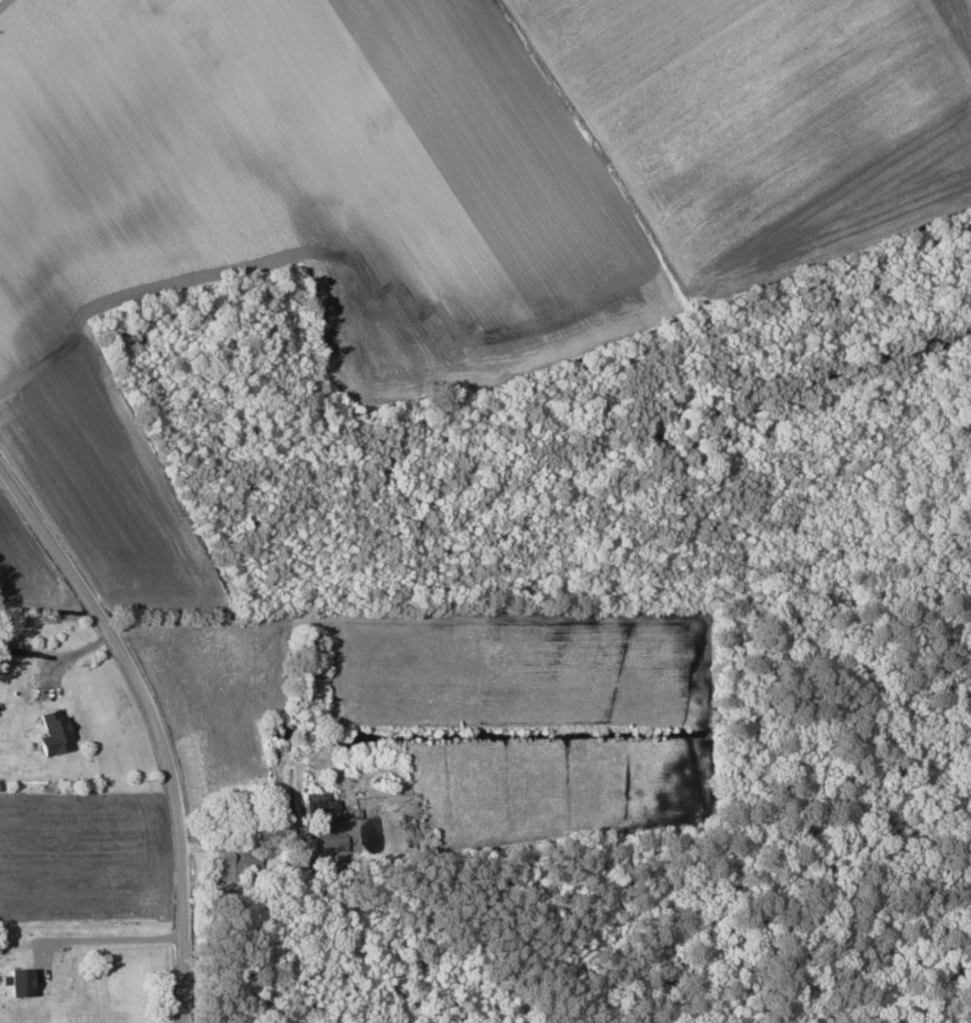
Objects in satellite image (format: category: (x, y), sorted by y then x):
road: (160, 718)
building: (53, 733)
building: (321, 805)
building: (237, 863)
road: (91, 941)
building: (2, 970)
building: (60, 979)

